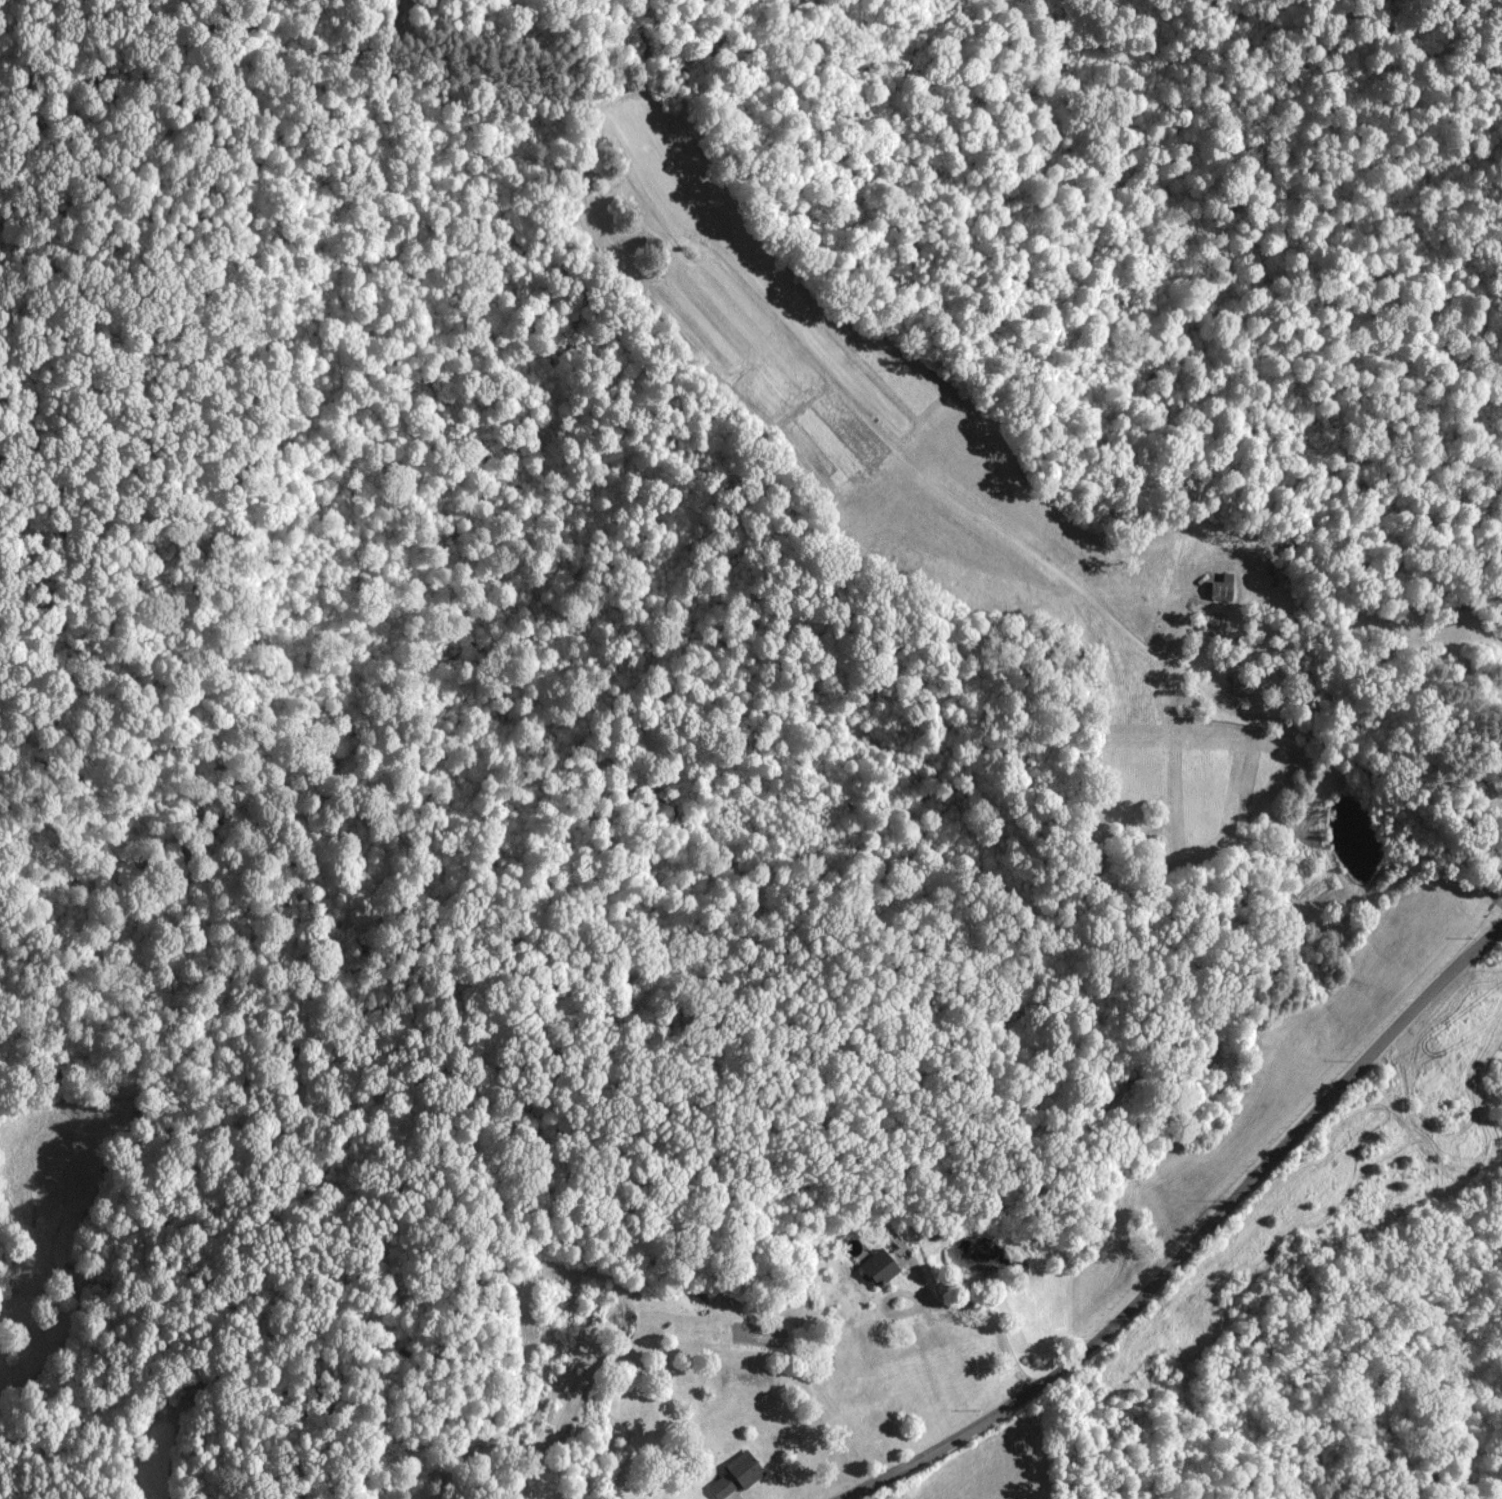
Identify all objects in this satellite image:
building: (1219, 592)
building: (1240, 684)
road: (1194, 1241)
building: (877, 1270)
building: (735, 1476)

